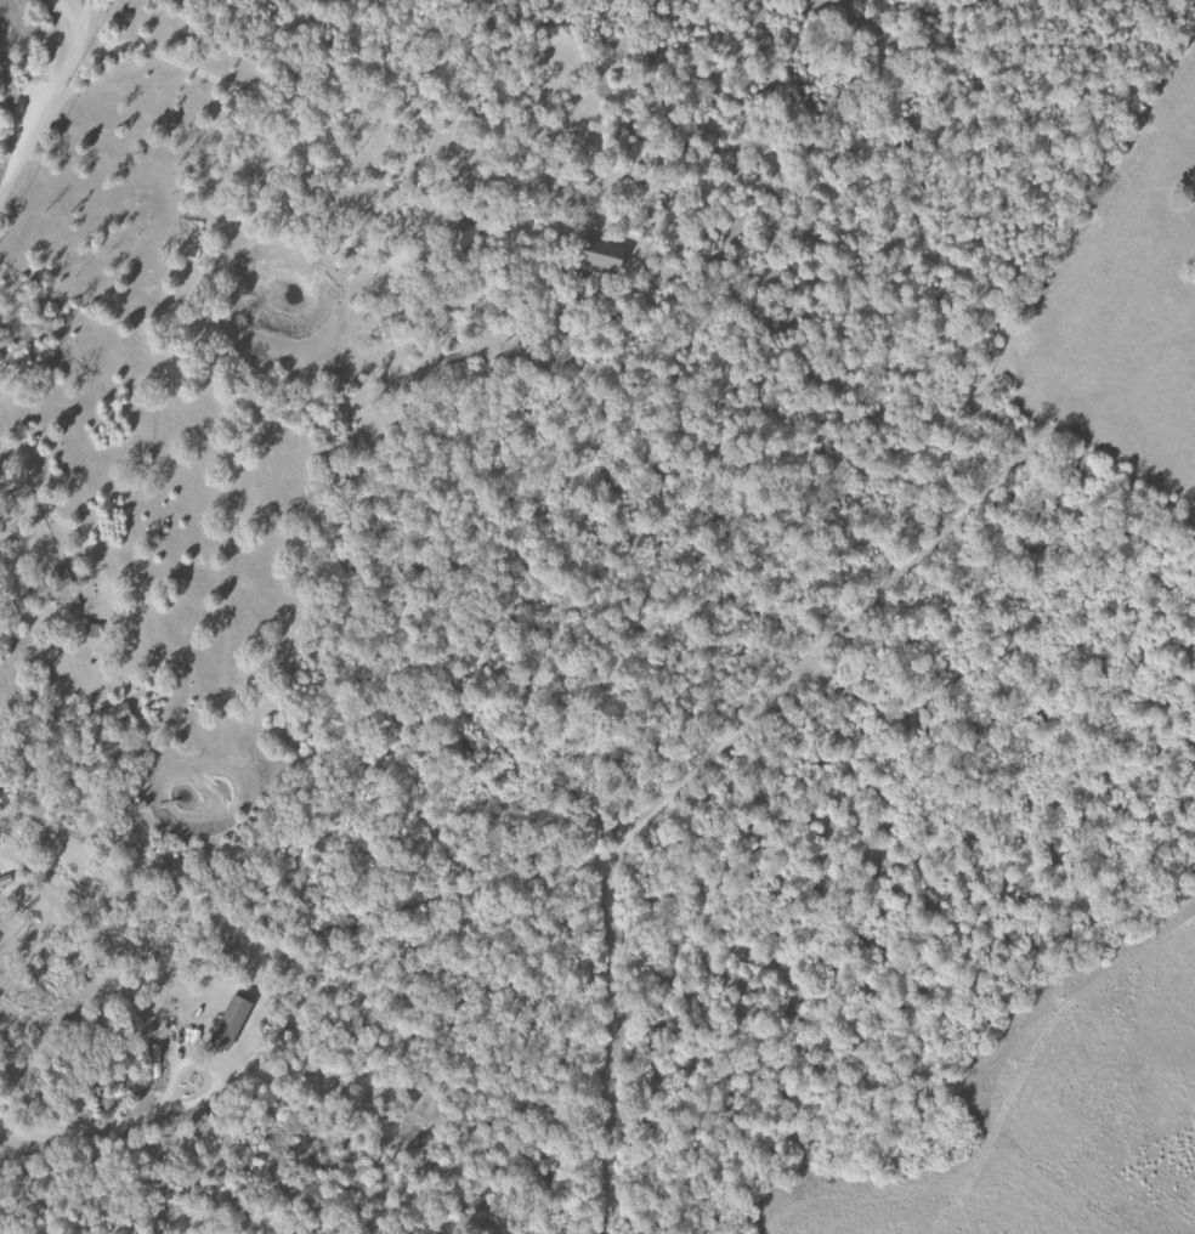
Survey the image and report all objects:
road: (60, 46)
road: (267, 101)
road: (29, 146)
building: (458, 237)
building: (597, 254)
building: (89, 630)
building: (228, 1021)
road: (107, 1123)

